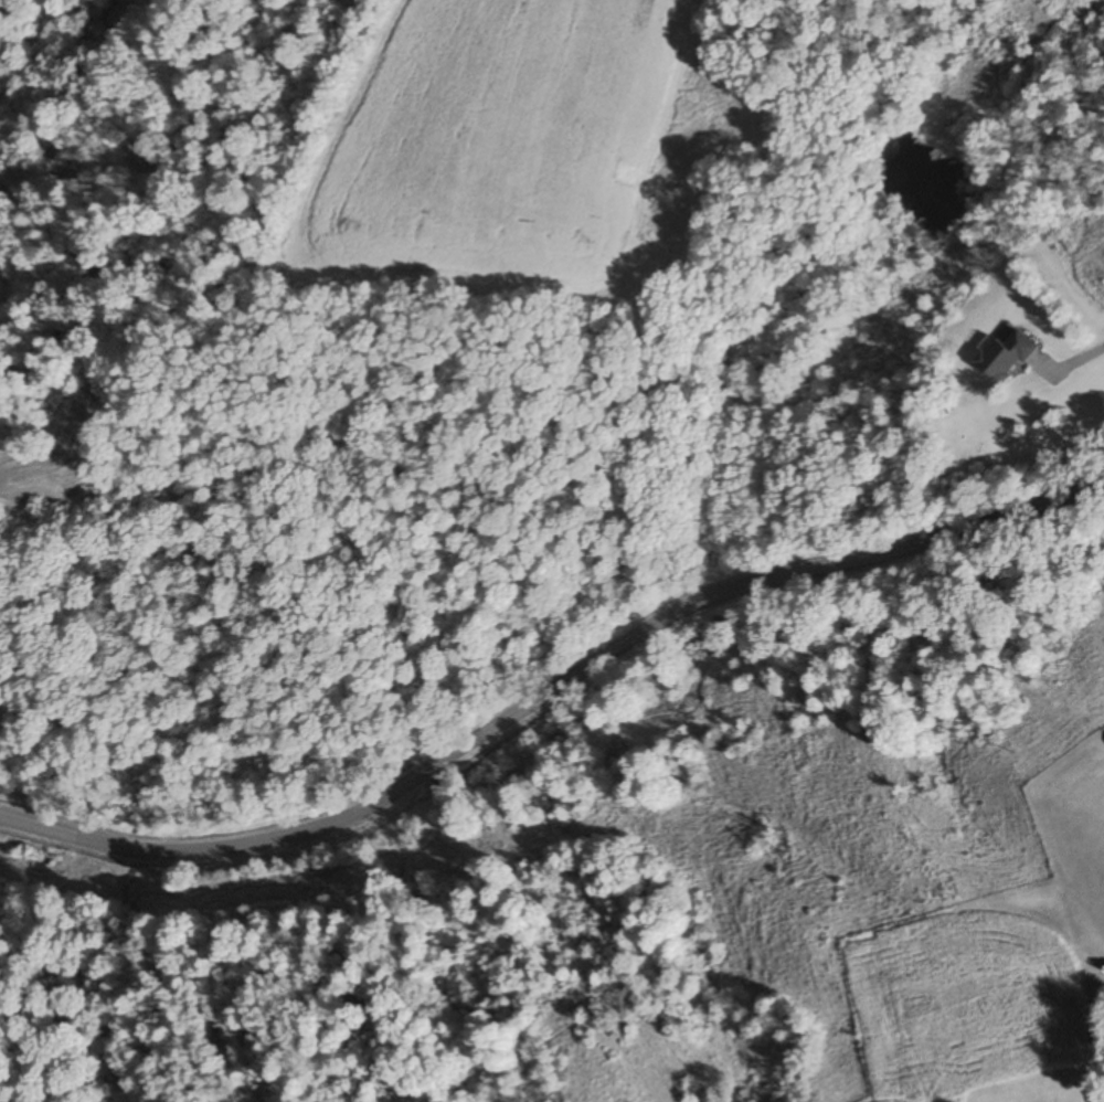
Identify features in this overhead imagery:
building: (1005, 357)
road: (1068, 375)
road: (551, 688)

